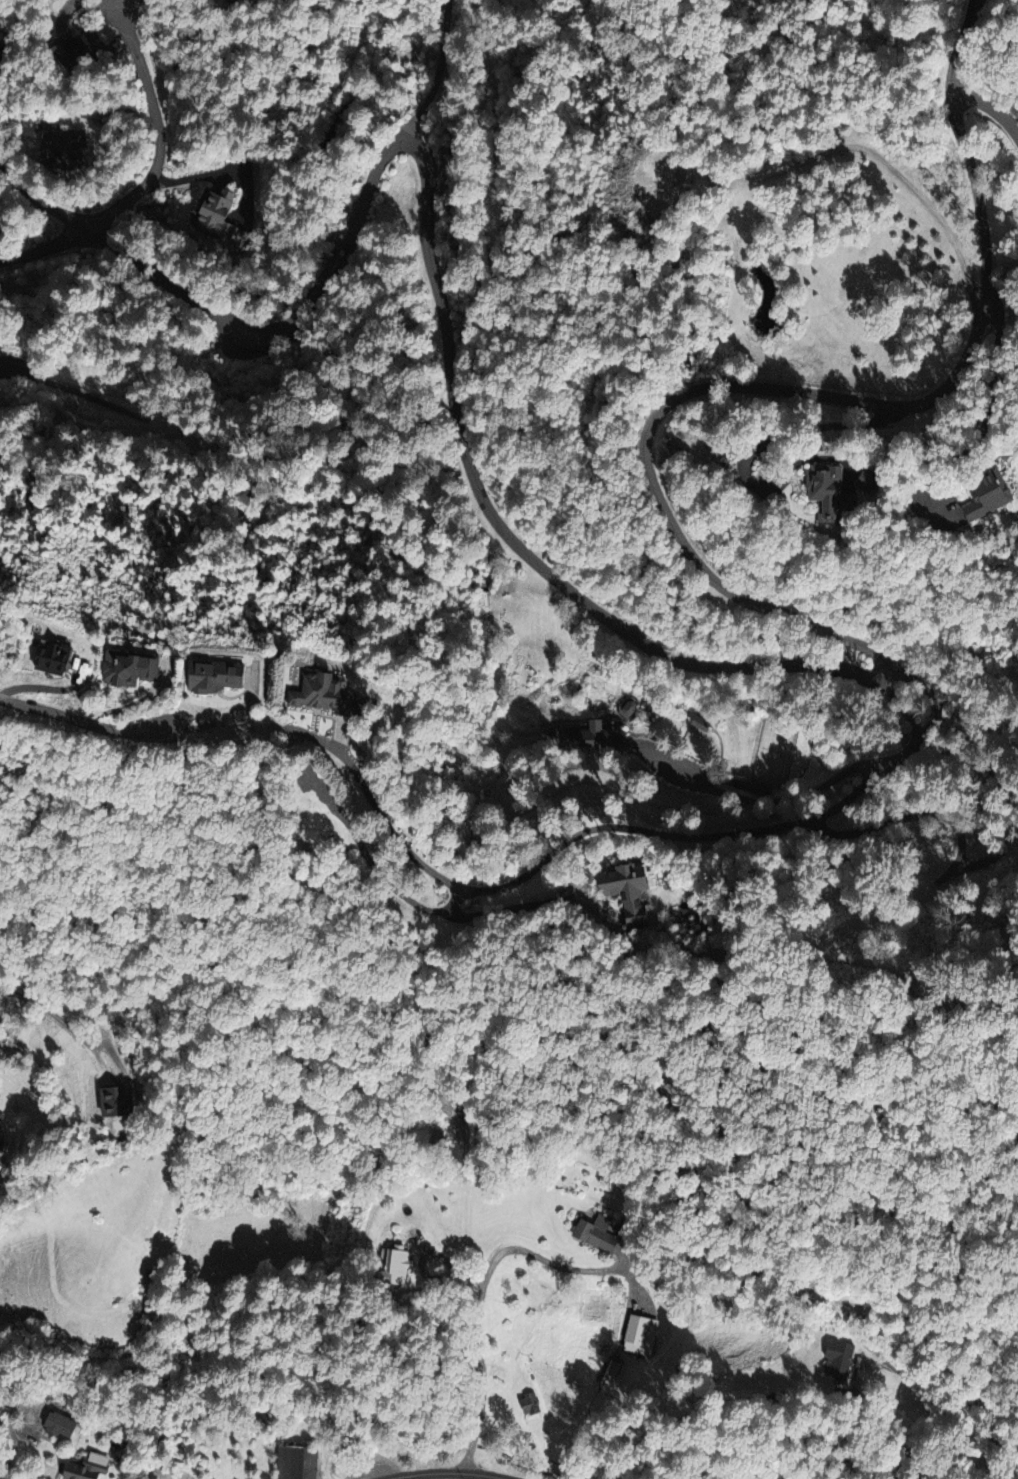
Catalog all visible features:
road: (124, 2)
building: (64, 47)
road: (428, 69)
road: (992, 107)
road: (158, 127)
building: (60, 148)
building: (212, 215)
road: (46, 247)
road: (234, 324)
road: (7, 368)
road: (808, 392)
road: (984, 426)
building: (825, 490)
building: (982, 494)
road: (508, 535)
building: (28, 661)
building: (109, 670)
building: (201, 677)
building: (309, 695)
building: (352, 705)
road: (215, 718)
road: (80, 722)
building: (696, 723)
building: (593, 735)
building: (758, 789)
road: (768, 802)
road: (628, 829)
road: (956, 858)
building: (621, 891)
road: (60, 1020)
building: (117, 1102)
building: (597, 1232)
building: (399, 1264)
road: (464, 1318)
building: (637, 1334)
building: (835, 1359)
building: (530, 1404)
building: (60, 1425)
road: (887, 1430)
road: (981, 1440)
building: (298, 1463)
building: (86, 1468)
road: (454, 1470)

